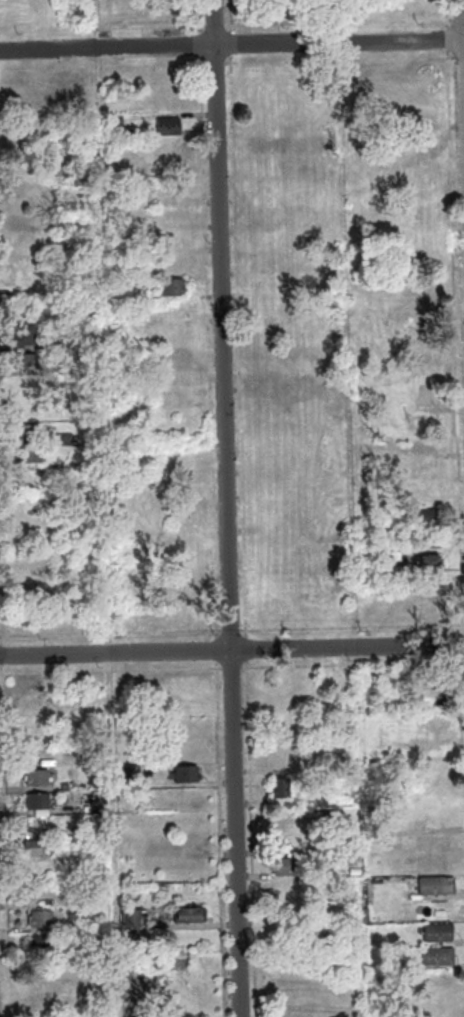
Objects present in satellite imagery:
building: (167, 11)
building: (104, 15)
building: (264, 15)
road: (447, 15)
road: (201, 16)
road: (231, 16)
road: (459, 21)
road: (340, 22)
road: (216, 27)
road: (103, 29)
road: (463, 29)
road: (449, 35)
road: (202, 43)
road: (232, 44)
road: (231, 45)
road: (212, 63)
road: (104, 66)
building: (117, 123)
building: (171, 128)
building: (175, 288)
road: (238, 300)
building: (424, 304)
building: (26, 336)
building: (56, 346)
road: (210, 347)
building: (28, 363)
building: (66, 369)
building: (423, 394)
building: (420, 420)
building: (28, 433)
building: (66, 440)
building: (33, 457)
road: (229, 508)
building: (426, 516)
building: (379, 539)
building: (430, 540)
building: (430, 563)
road: (1, 602)
road: (228, 633)
road: (112, 635)
road: (217, 650)
road: (231, 650)
road: (2, 656)
road: (228, 668)
road: (111, 671)
building: (434, 697)
building: (433, 721)
building: (418, 745)
building: (185, 773)
building: (131, 776)
building: (37, 777)
building: (279, 788)
building: (38, 801)
road: (222, 838)
road: (6, 841)
building: (38, 847)
building: (286, 866)
building: (435, 885)
building: (187, 914)
building: (41, 918)
building: (131, 918)
building: (436, 932)
building: (42, 943)
building: (437, 956)

